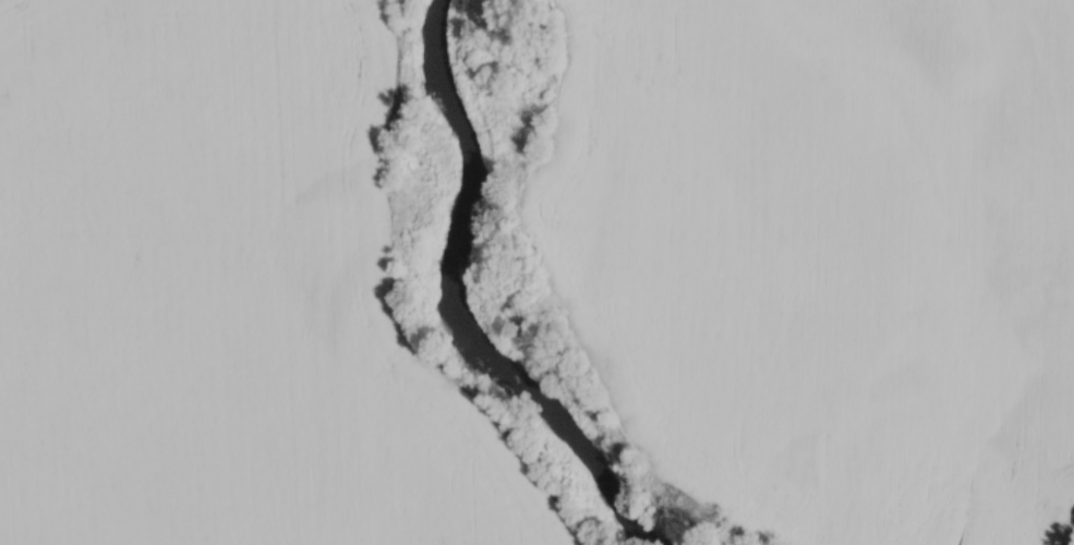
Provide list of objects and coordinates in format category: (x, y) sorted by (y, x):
river: (450, 300)

